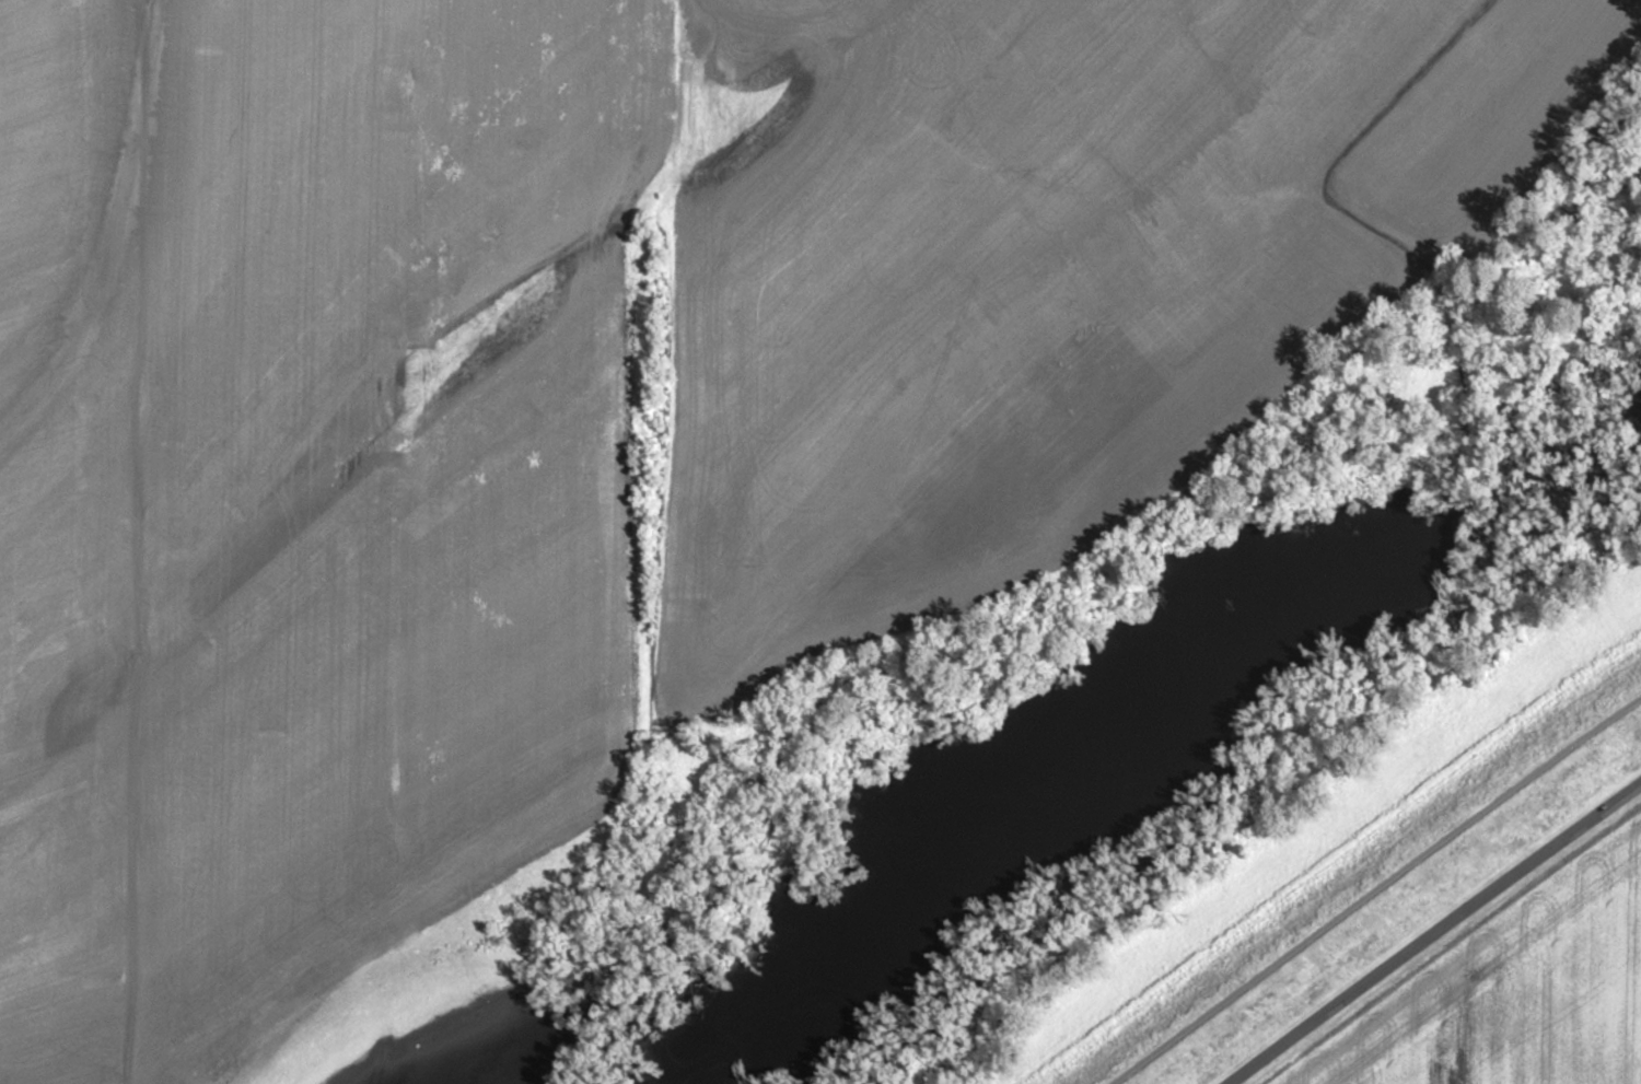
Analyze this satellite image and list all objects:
road: (1483, 969)

